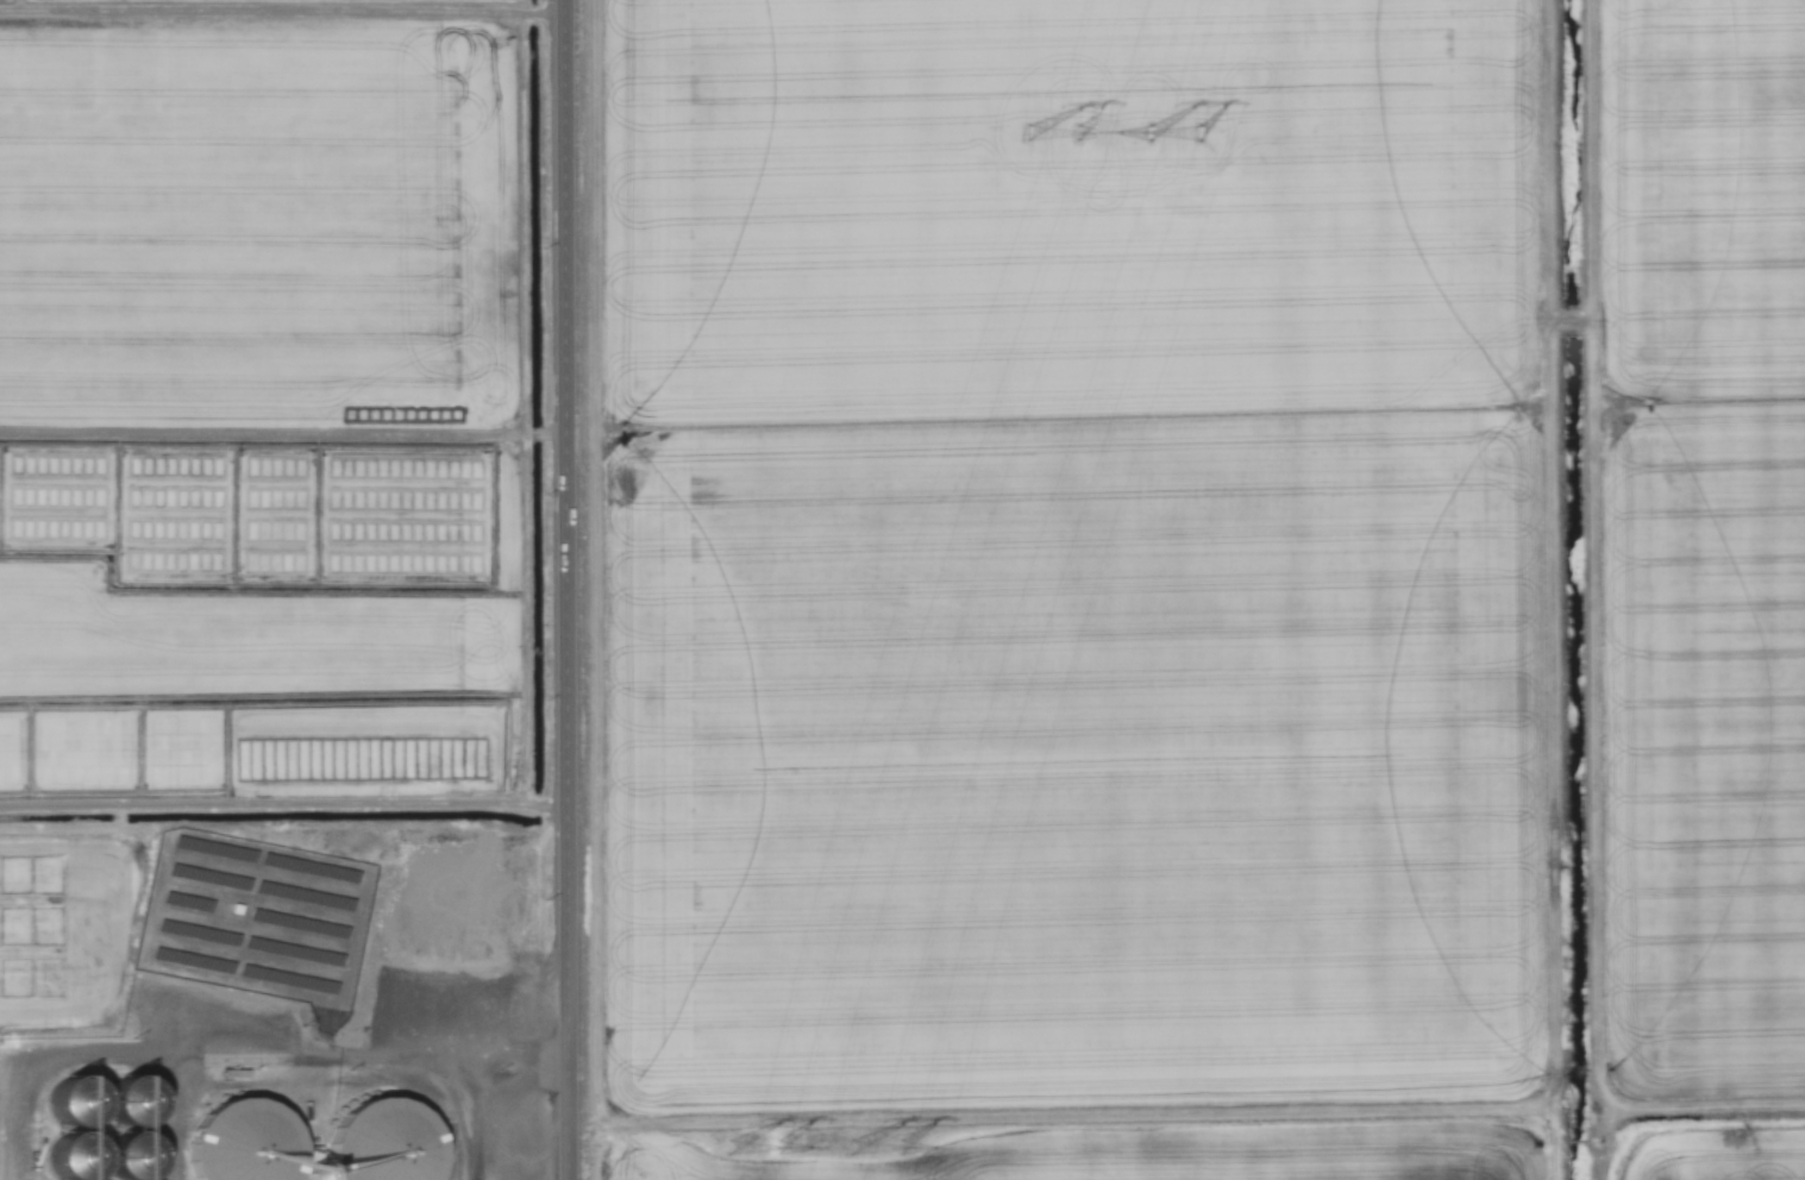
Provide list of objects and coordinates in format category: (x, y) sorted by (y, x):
power tower: (1065, 133)
power tower: (1185, 143)
road: (572, 590)
power tower: (765, 1144)
power tower: (884, 1154)

